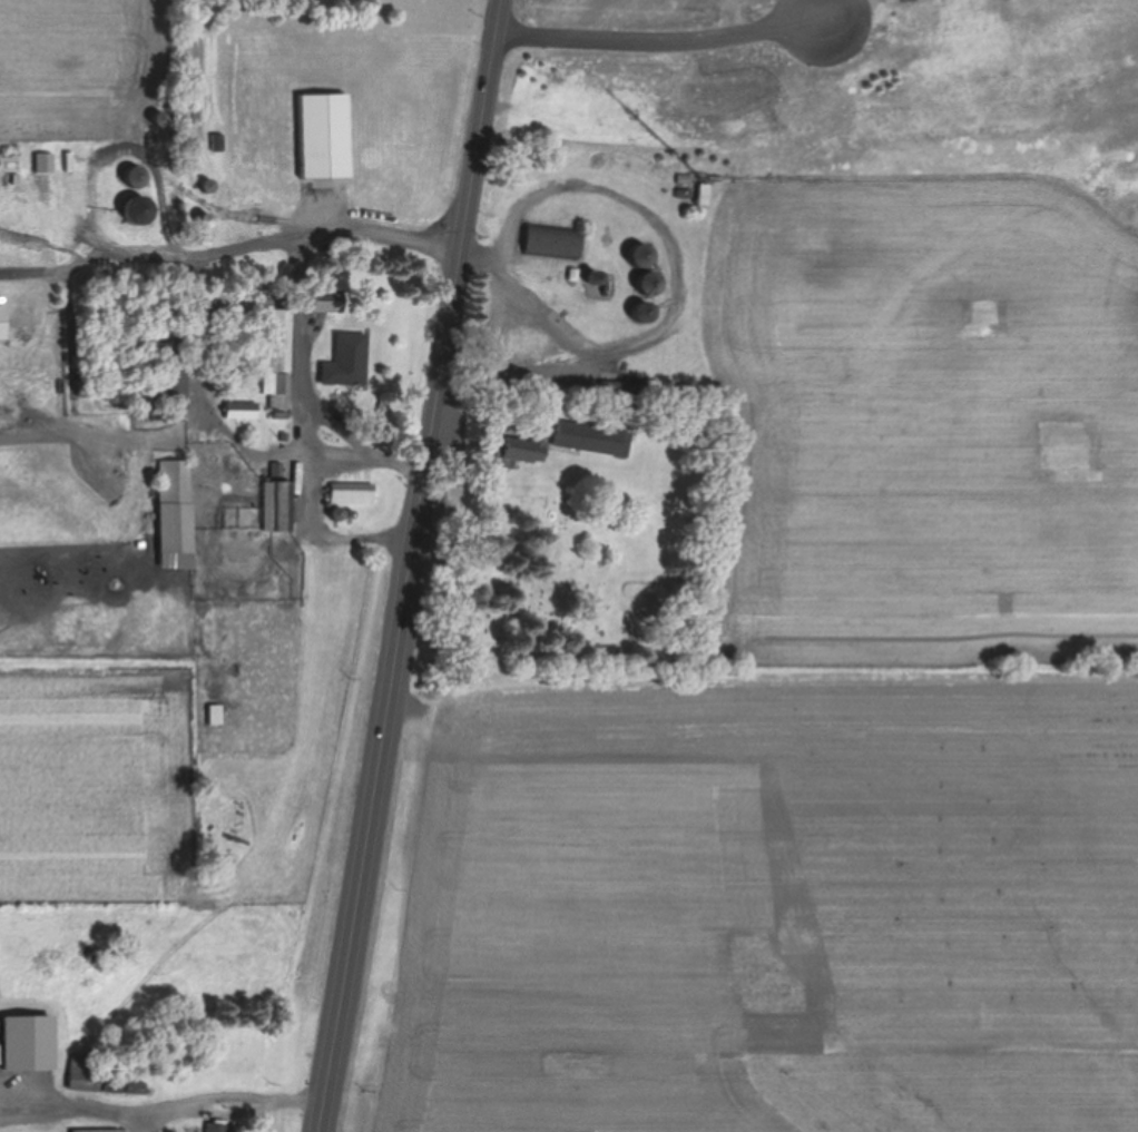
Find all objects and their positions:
road: (840, 7)
road: (664, 39)
building: (325, 135)
building: (137, 176)
building: (705, 193)
road: (653, 205)
building: (139, 209)
road: (334, 225)
building: (555, 242)
road: (478, 254)
building: (645, 254)
building: (651, 283)
building: (327, 301)
building: (645, 312)
building: (3, 322)
building: (352, 355)
building: (277, 360)
road: (514, 372)
building: (175, 381)
building: (630, 388)
building: (593, 439)
building: (526, 454)
road: (325, 489)
building: (353, 493)
building: (176, 505)
building: (275, 505)
road: (413, 565)
building: (207, 725)
building: (29, 1043)
building: (86, 1073)
road: (164, 1105)
road: (136, 1120)
building: (218, 1128)
building: (98, 1130)

